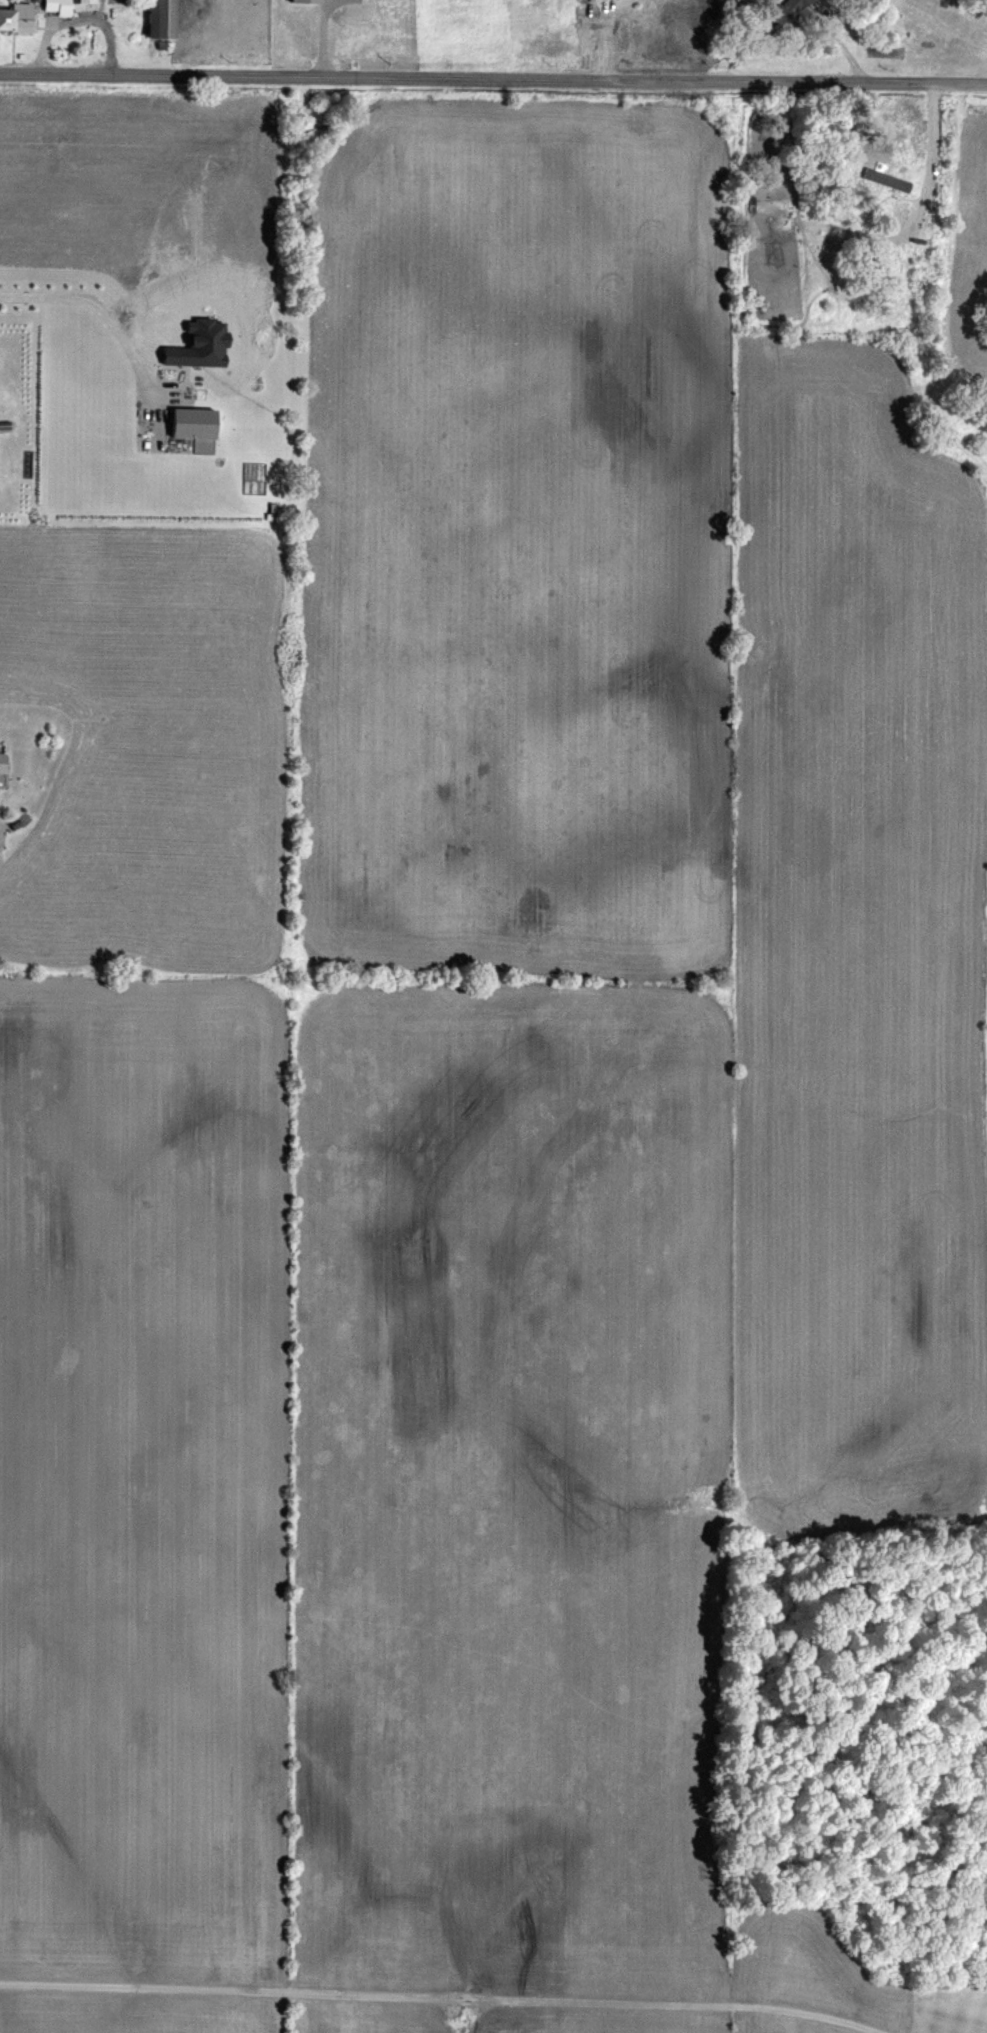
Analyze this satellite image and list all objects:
building: (83, 1)
building: (54, 7)
building: (785, 12)
building: (15, 17)
building: (153, 19)
road: (493, 78)
road: (931, 148)
building: (883, 157)
road: (99, 309)
building: (1, 760)
road: (444, 1991)

